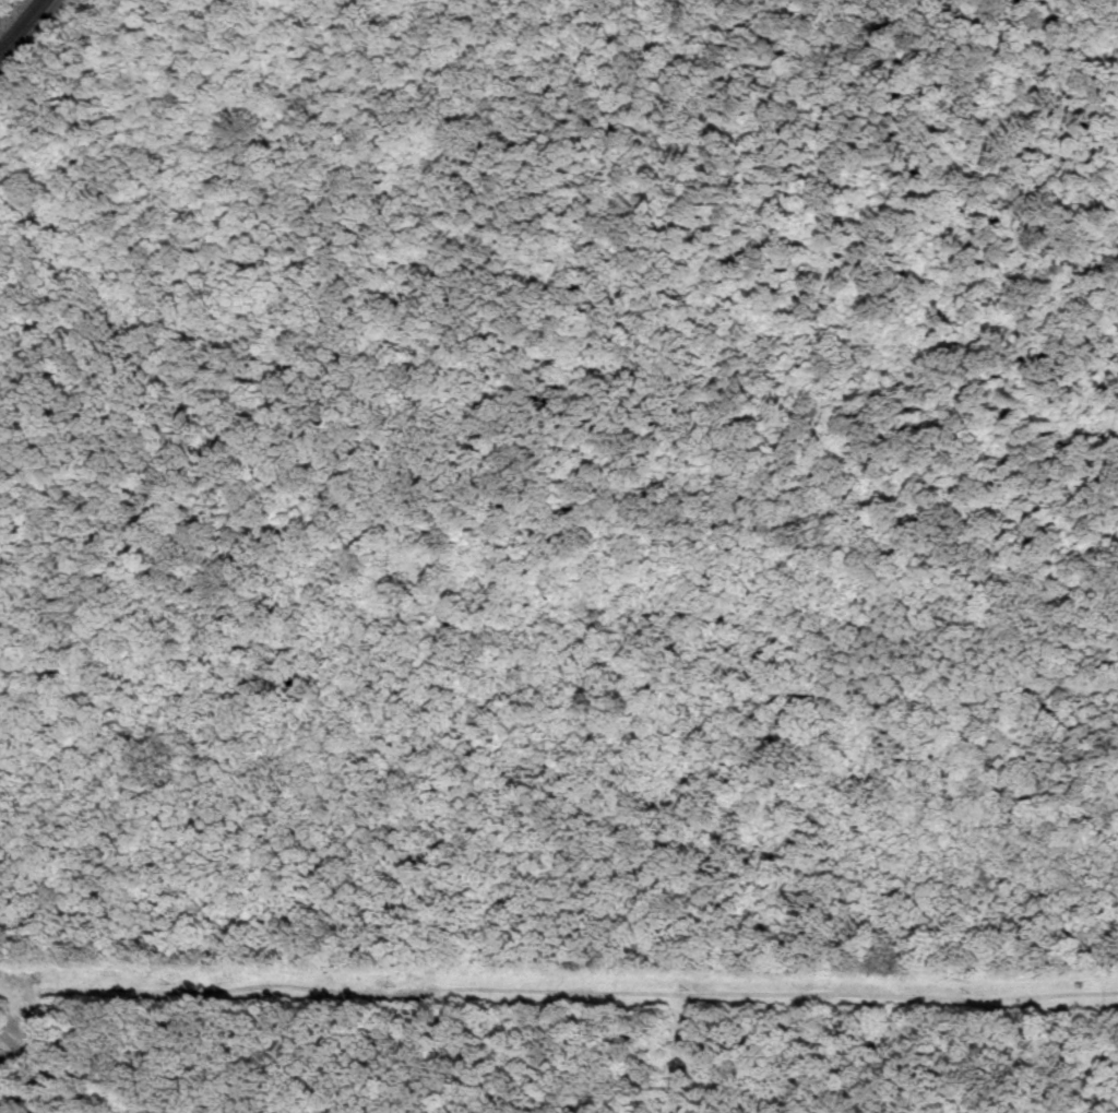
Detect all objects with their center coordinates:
railway: (21, 25)
railway: (27, 32)
road: (45, 1051)

